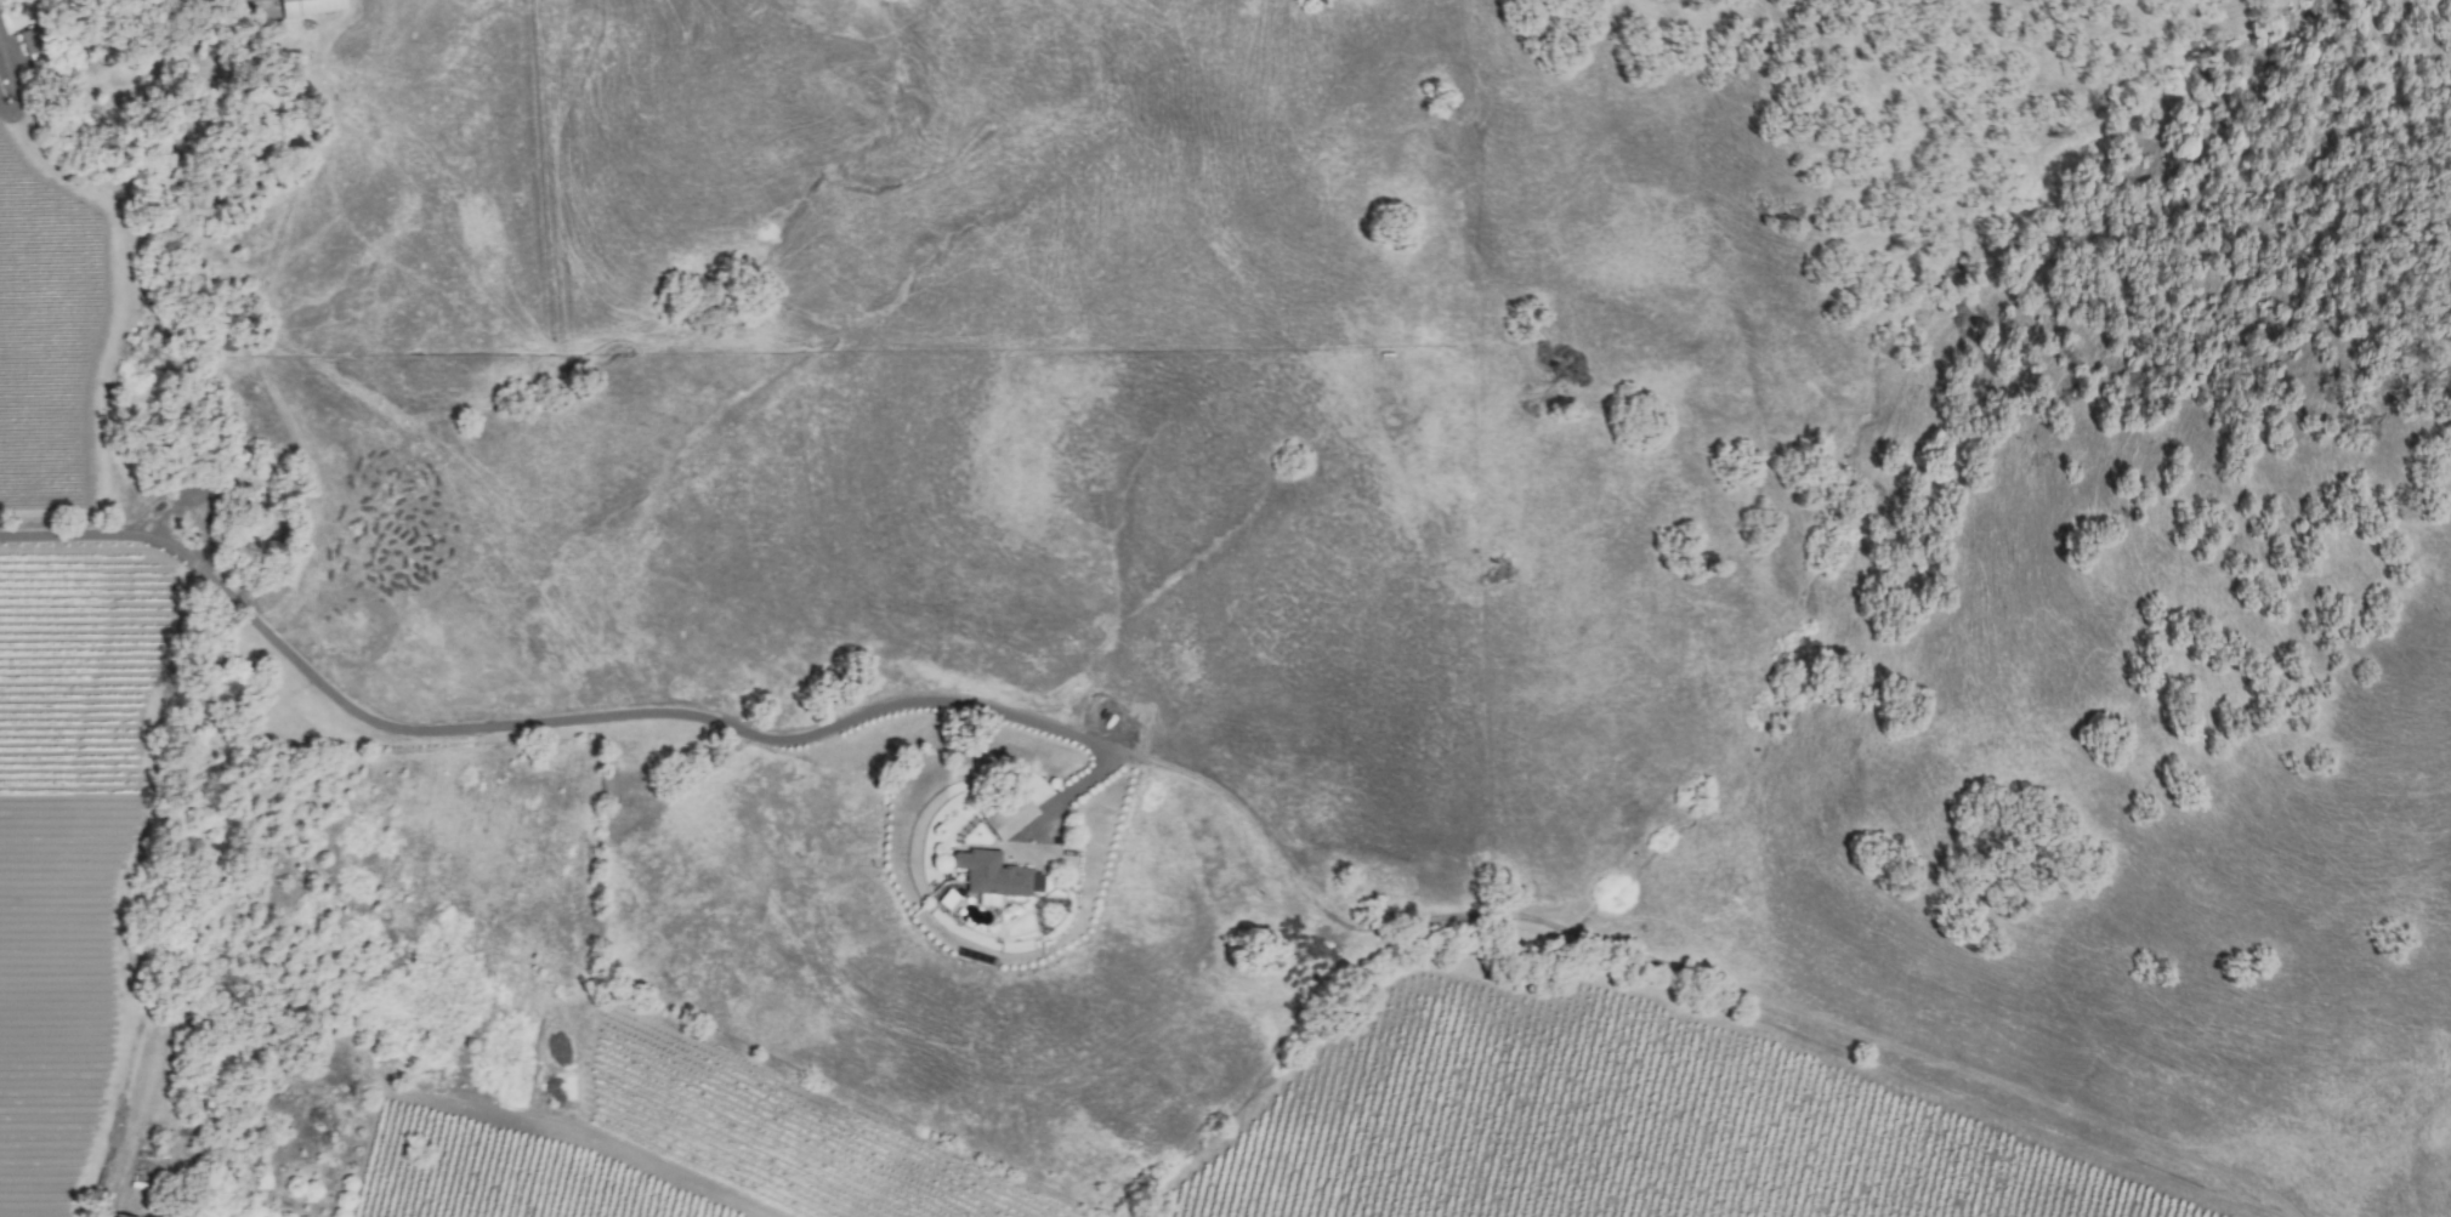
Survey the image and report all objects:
road: (15, 57)
road: (13, 118)
road: (533, 723)
road: (1057, 798)
building: (1009, 815)
building: (994, 872)

